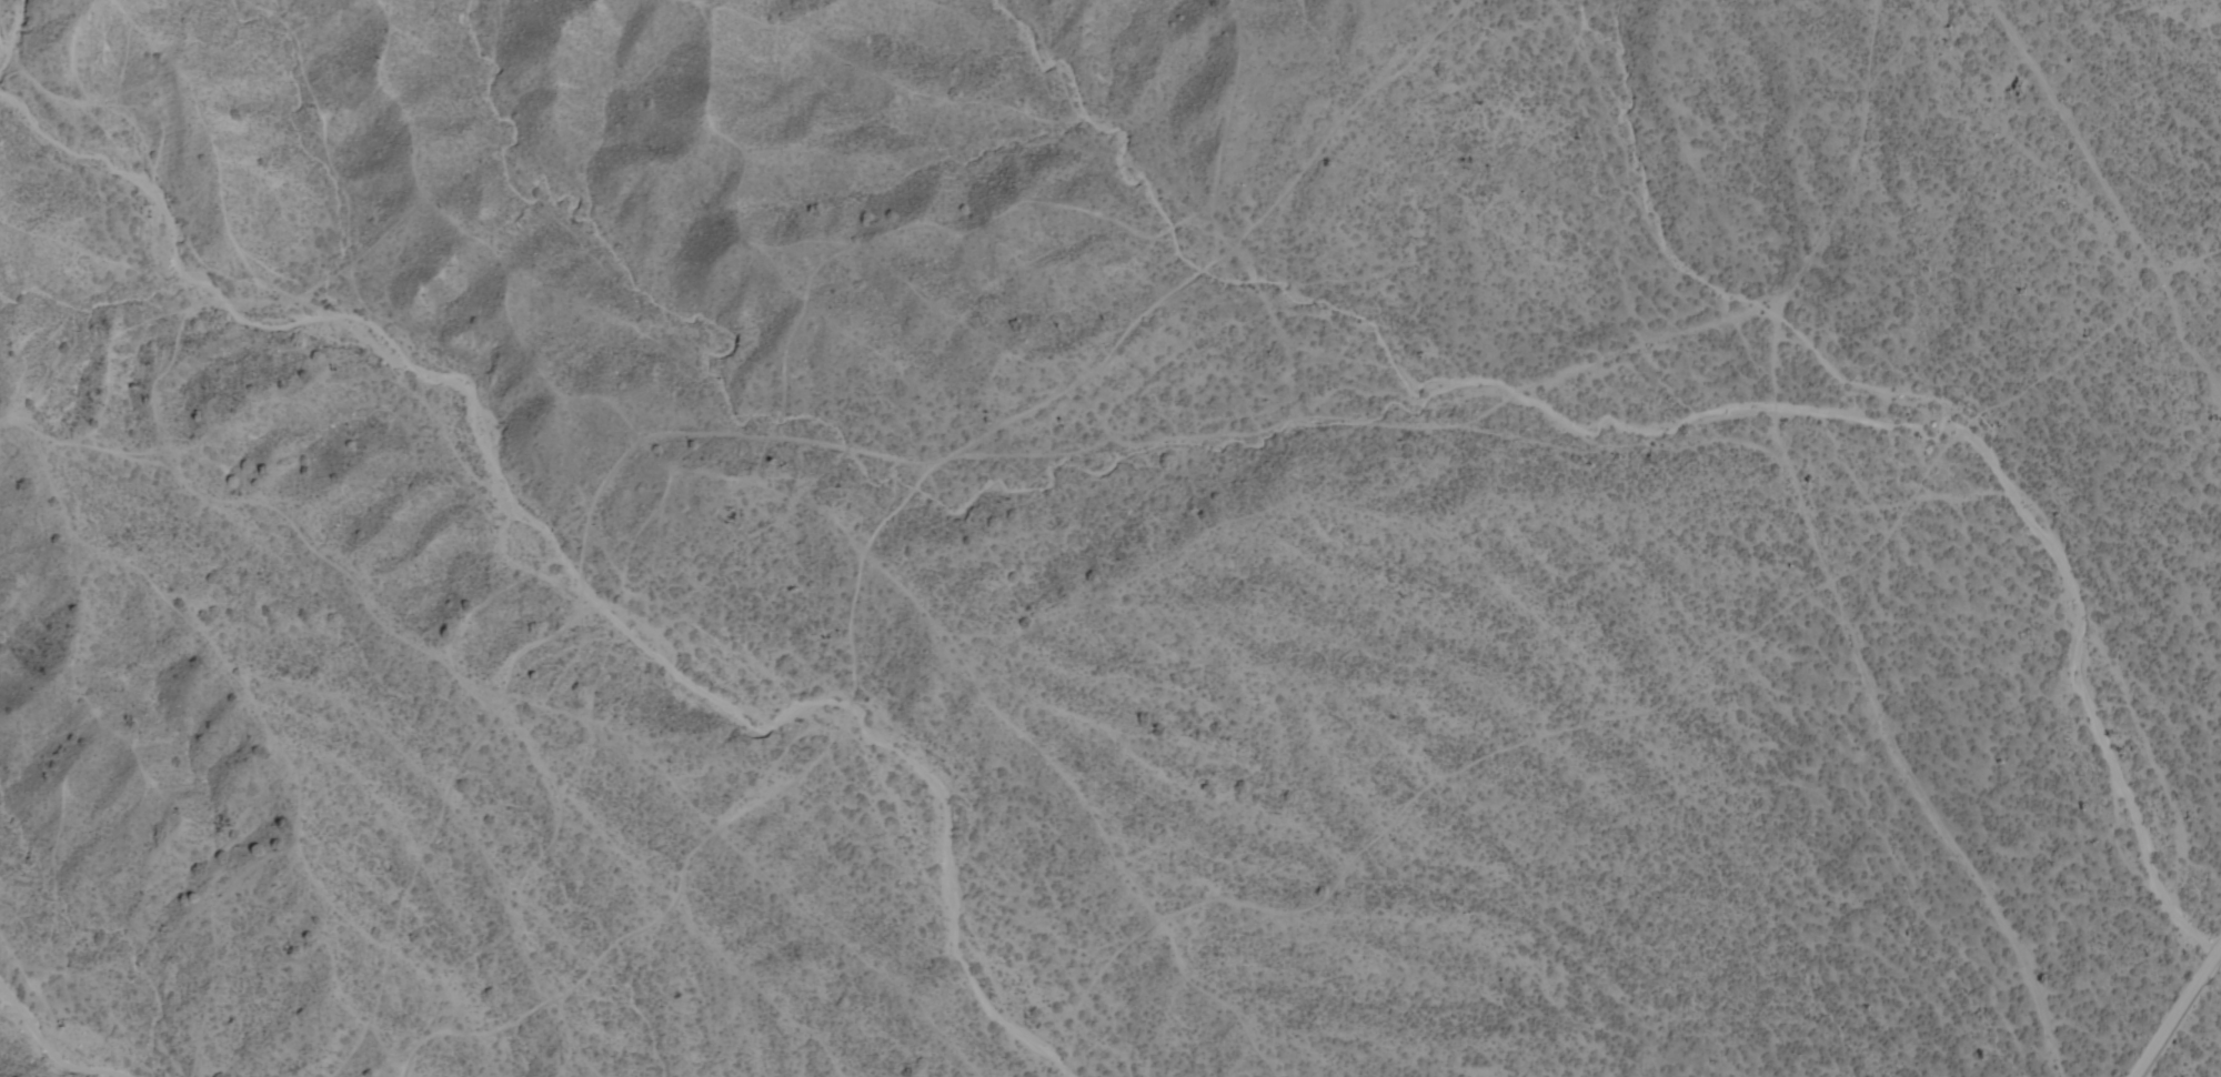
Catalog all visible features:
road: (2111, 194)
road: (2177, 1010)

